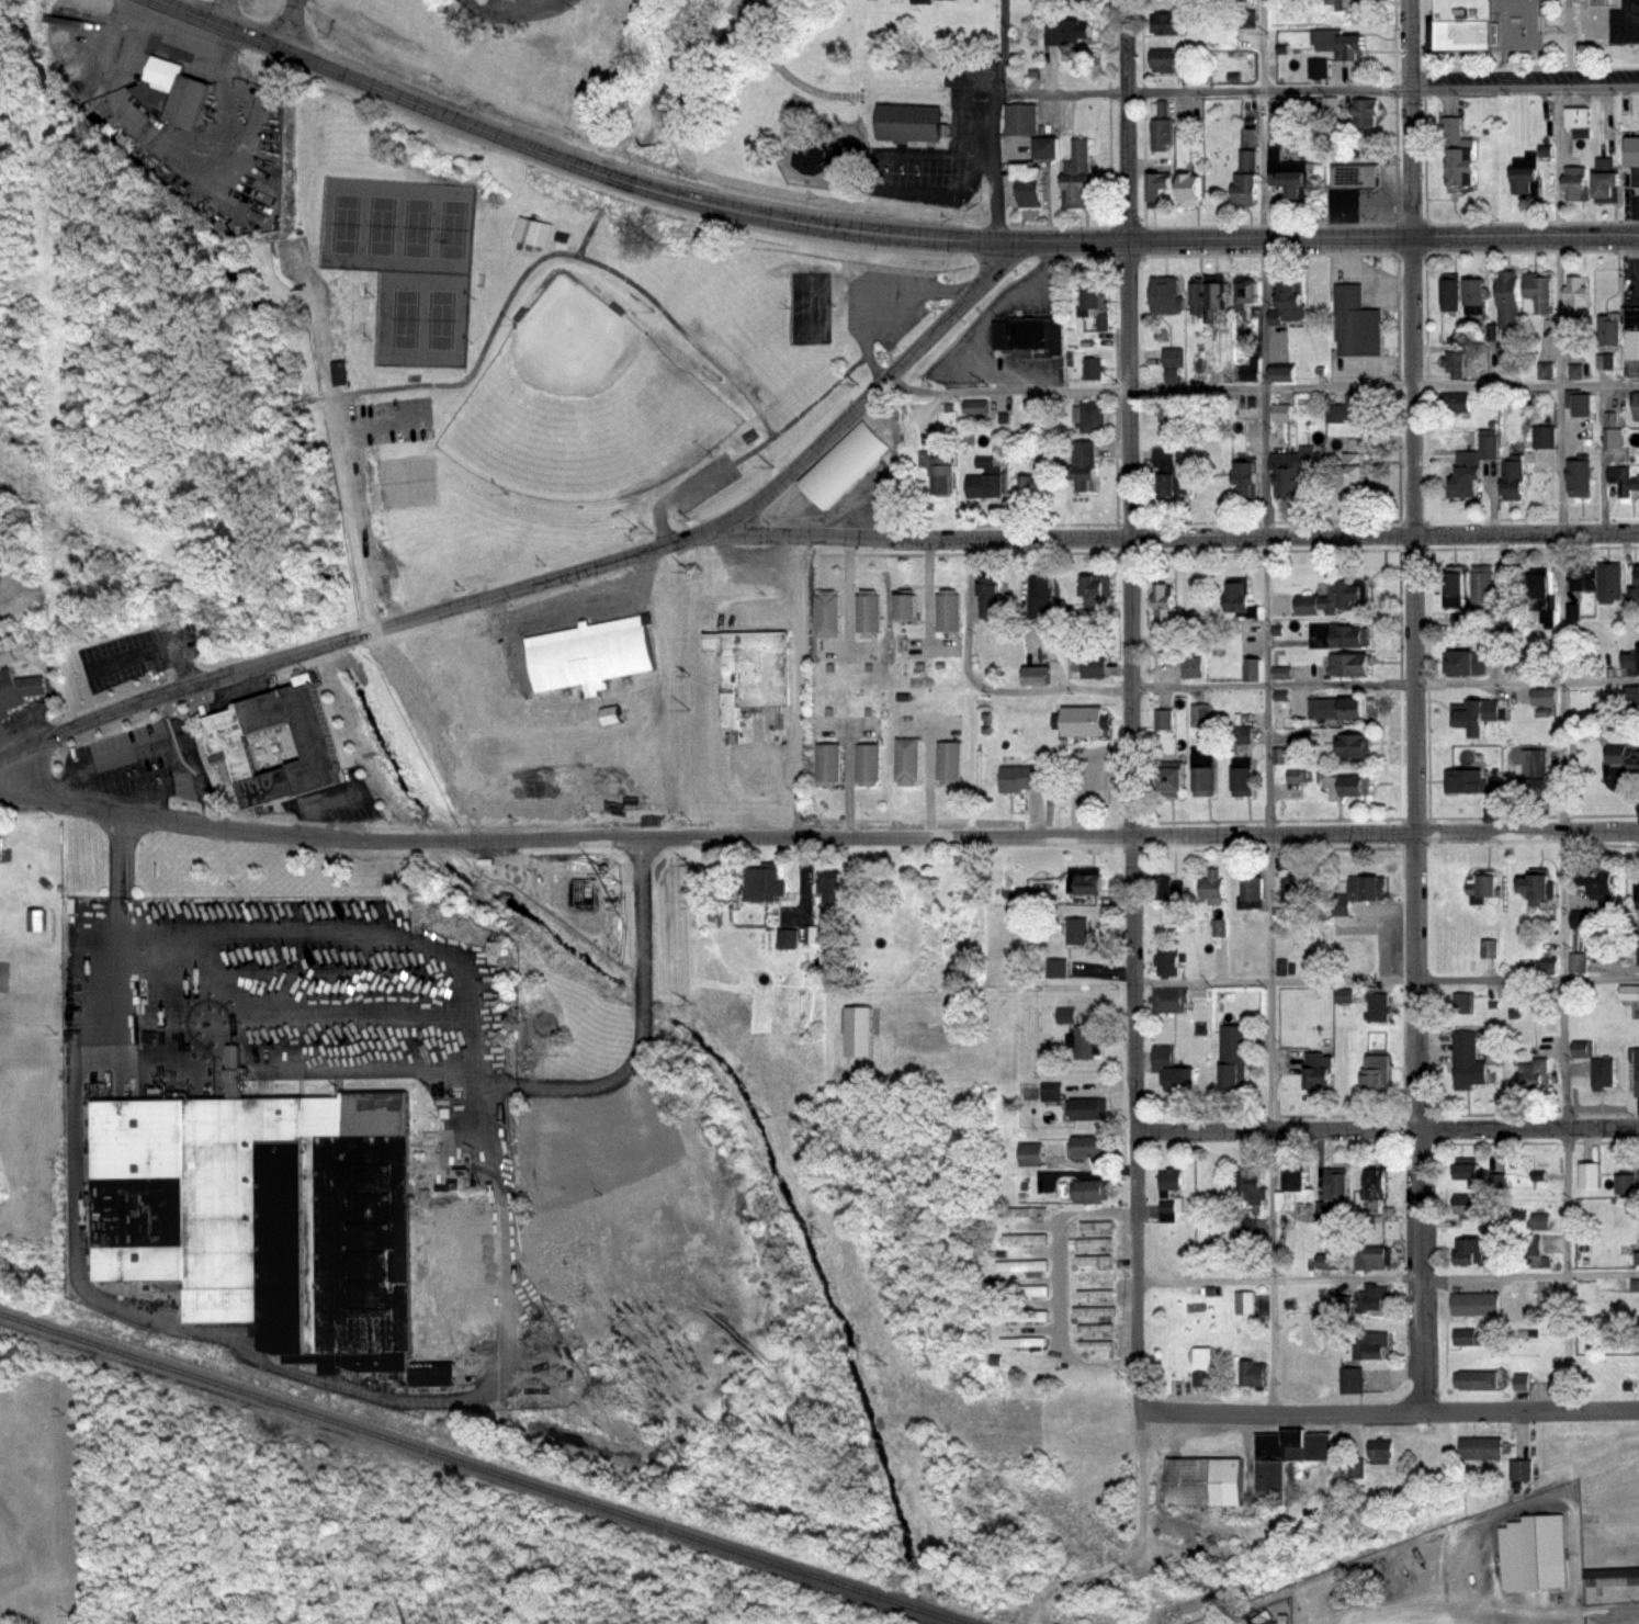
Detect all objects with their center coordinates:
building: (929, 0)
building: (920, 1)
building: (1595, 2)
building: (1345, 4)
road: (508, 11)
road: (1624, 11)
road: (227, 12)
building: (1246, 19)
building: (1166, 22)
road: (1605, 22)
road: (1631, 23)
building: (1488, 24)
road: (292, 25)
parking lot: (1608, 25)
building: (1066, 32)
building: (1338, 44)
building: (898, 60)
building: (1167, 60)
road: (789, 68)
road: (686, 71)
road: (368, 81)
road: (1525, 86)
road: (1206, 87)
building: (178, 93)
building: (1156, 109)
building: (1365, 111)
park: (788, 114)
road: (1411, 119)
road: (1001, 120)
building: (1021, 120)
road: (1128, 120)
building: (909, 121)
building: (1578, 121)
building: (1161, 126)
parking lot: (951, 138)
building: (1635, 146)
building: (1045, 148)
building: (1077, 160)
building: (1461, 167)
building: (1354, 176)
building: (1636, 177)
building: (1605, 178)
building: (1244, 179)
building: (1288, 179)
building: (1575, 183)
building: (1526, 184)
building: (1155, 187)
building: (1187, 187)
building: (1076, 192)
building: (1029, 196)
road: (590, 226)
building: (529, 229)
building: (562, 238)
road: (1101, 240)
park: (406, 257)
building: (1449, 291)
building: (1473, 292)
building: (1246, 293)
building: (1539, 293)
building: (1165, 295)
building: (1195, 298)
building: (1212, 298)
building: (1507, 298)
parking lot: (882, 300)
building: (1578, 302)
park: (810, 303)
building: (1095, 306)
building: (1288, 308)
road: (987, 312)
building: (1356, 324)
building: (1609, 330)
building: (1634, 332)
road: (321, 335)
building: (1029, 338)
building: (1502, 358)
building: (1172, 359)
building: (1454, 364)
building: (1093, 369)
building: (1250, 371)
building: (342, 372)
park: (388, 373)
building: (1282, 375)
road: (741, 387)
road: (1263, 388)
park: (584, 402)
building: (1579, 402)
building: (1454, 403)
building: (1637, 406)
building: (976, 407)
building: (1350, 408)
building: (1165, 410)
building: (1284, 413)
building: (1093, 417)
road: (372, 421)
parking lot: (381, 422)
building: (1638, 436)
building: (1546, 437)
building: (1610, 437)
road: (337, 441)
building: (1481, 447)
road: (750, 450)
building: (1162, 456)
building: (841, 463)
building: (1082, 467)
building: (1293, 470)
building: (937, 474)
building: (1581, 478)
building: (1245, 480)
building: (1465, 480)
park: (407, 481)
building: (1352, 481)
building: (1513, 481)
building: (1626, 481)
building: (986, 483)
parking lot: (694, 485)
building: (1173, 485)
building: (1033, 489)
road: (160, 504)
road: (1164, 537)
building: (1638, 571)
road: (557, 579)
building: (1610, 582)
building: (1540, 588)
building: (1454, 589)
building: (1095, 594)
building: (1490, 596)
building: (1039, 598)
building: (1340, 598)
building: (906, 599)
building: (990, 599)
building: (1242, 599)
building: (948, 606)
building: (868, 608)
building: (826, 609)
building: (1164, 609)
parking lot: (565, 614)
building: (1350, 635)
building: (589, 649)
parking lot: (138, 651)
building: (9, 655)
building: (1631, 663)
building: (750, 664)
building: (1465, 664)
building: (1349, 665)
building: (1189, 666)
building: (1088, 667)
building: (1248, 668)
building: (1029, 675)
road: (1232, 684)
road: (798, 688)
building: (19, 692)
building: (1540, 697)
building: (1631, 702)
road: (1268, 704)
building: (1340, 708)
building: (1197, 714)
building: (1476, 714)
building: (1158, 719)
building: (1081, 722)
building: (1236, 734)
building: (275, 743)
road: (1564, 745)
building: (1355, 746)
road: (143, 747)
building: (907, 754)
building: (948, 755)
building: (828, 757)
building: (868, 757)
building: (1636, 760)
building: (1021, 772)
building: (1293, 776)
building: (1533, 778)
building: (1171, 779)
building: (1203, 780)
building: (1465, 781)
building: (1243, 782)
building: (1348, 786)
road: (1416, 822)
road: (1132, 824)
road: (814, 836)
building: (3, 850)
building: (759, 883)
building: (1087, 883)
building: (1367, 887)
building: (1637, 887)
building: (830, 888)
building: (1485, 888)
building: (1210, 889)
building: (1172, 890)
building: (1539, 890)
building: (1251, 891)
building: (1601, 891)
building: (1291, 894)
building: (39, 920)
road: (362, 925)
building: (1077, 932)
building: (782, 937)
crop: (583, 945)
building: (1488, 947)
building: (1636, 949)
building: (1165, 958)
building: (1575, 962)
building: (1545, 966)
building: (1052, 967)
road: (298, 974)
road: (1602, 978)
road: (1276, 979)
road: (1491, 979)
building: (1629, 993)
parking lot: (273, 994)
building: (1168, 997)
building: (1461, 1002)
building: (1378, 1005)
building: (1061, 1015)
road: (305, 1022)
building: (562, 1023)
building: (858, 1033)
building: (1087, 1040)
building: (1232, 1055)
building: (1467, 1058)
building: (1636, 1067)
building: (1173, 1069)
building: (1318, 1069)
building: (1535, 1071)
building: (1604, 1071)
building: (1374, 1073)
road: (483, 1083)
building: (1049, 1096)
building: (1089, 1107)
road: (1388, 1124)
building: (1086, 1144)
building: (1028, 1153)
building: (1591, 1174)
building: (1295, 1177)
building: (1483, 1177)
building: (1169, 1178)
building: (1625, 1181)
building: (1335, 1183)
building: (1253, 1184)
building: (1375, 1185)
building: (1092, 1186)
building: (1466, 1204)
building: (1167, 1206)
building: (1325, 1209)
building: (1024, 1213)
building: (1536, 1220)
building: (1094, 1226)
building: (1242, 1227)
building: (294, 1228)
building: (1022, 1239)
building: (1092, 1243)
building: (1529, 1244)
building: (1638, 1248)
building: (1470, 1250)
building: (1375, 1258)
building: (1092, 1261)
building: (1318, 1262)
building: (1019, 1265)
building: (1092, 1277)
road: (1389, 1279)
building: (1634, 1284)
road: (1062, 1287)
building: (1033, 1289)
building: (1092, 1294)
building: (1372, 1297)
building: (1244, 1301)
building: (1340, 1302)
building: (1474, 1302)
building: (1090, 1311)
building: (1021, 1315)
building: (1093, 1328)
road: (196, 1330)
building: (1467, 1334)
building: (1637, 1334)
building: (1021, 1342)
building: (1369, 1344)
building: (1093, 1346)
building: (1200, 1364)
building: (1252, 1372)
building: (1476, 1378)
building: (1350, 1379)
road: (1389, 1408)
road: (1390, 1417)
building: (1382, 1447)
building: (1480, 1447)
building: (1284, 1456)
building: (1353, 1466)
building: (1521, 1468)
railway: (481, 1469)
building: (1203, 1484)
road: (1134, 1544)
building: (1533, 1552)
building: (1612, 1576)
road: (1610, 1610)
road: (1389, 1612)
road: (1512, 1615)
road: (1440, 1621)

